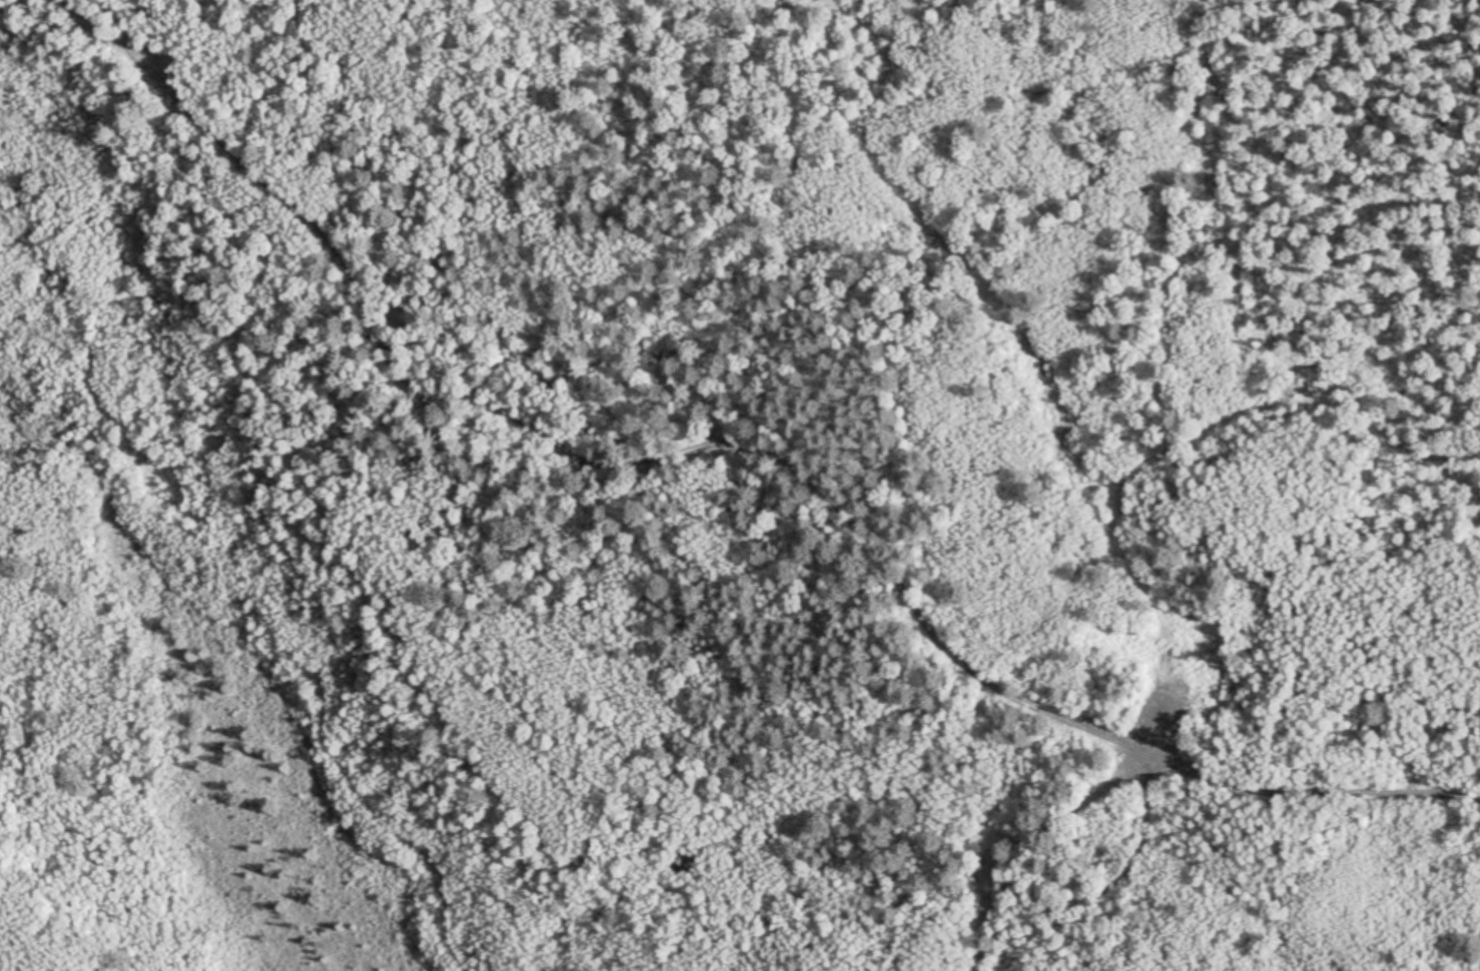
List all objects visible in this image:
road: (1167, 758)

